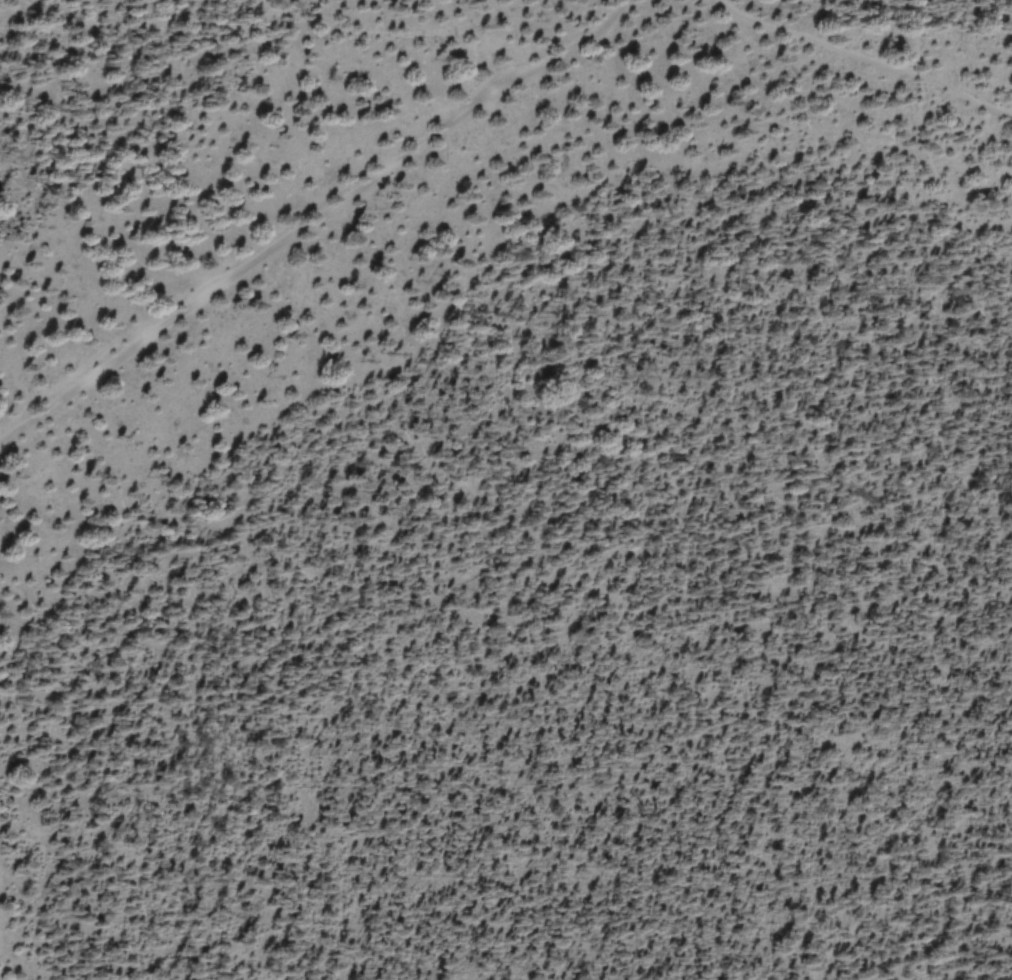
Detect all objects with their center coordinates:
road: (869, 55)
road: (316, 225)
road: (981, 500)

